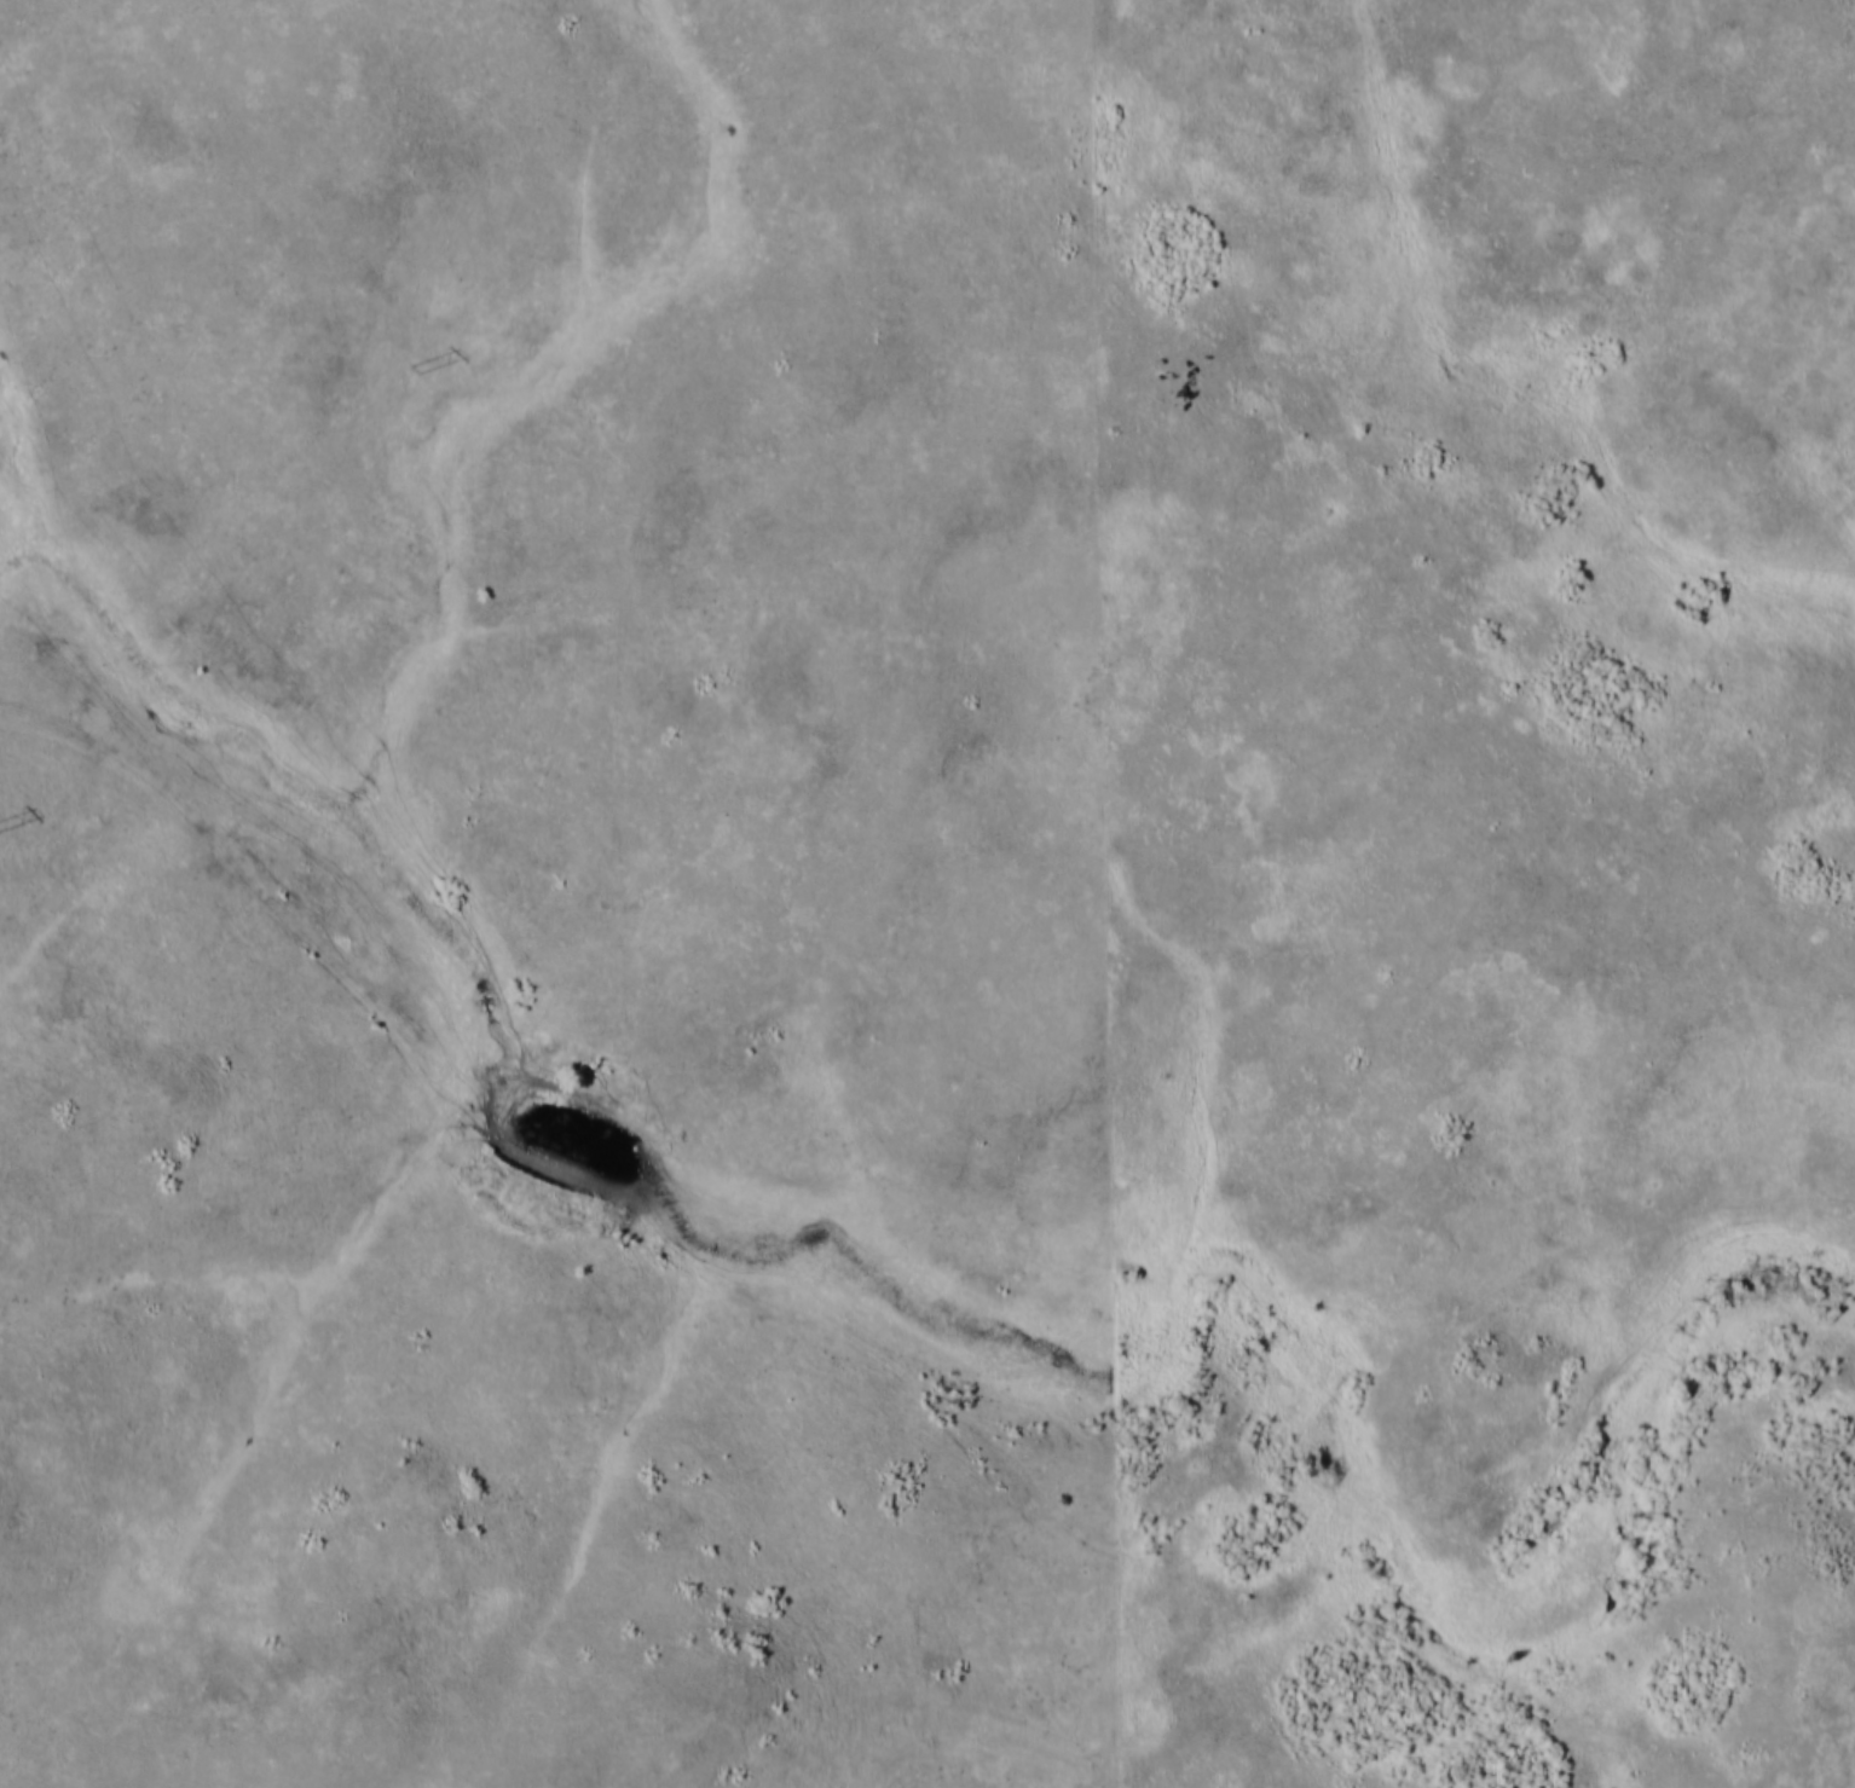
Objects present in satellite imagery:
power tower: (422, 369)

